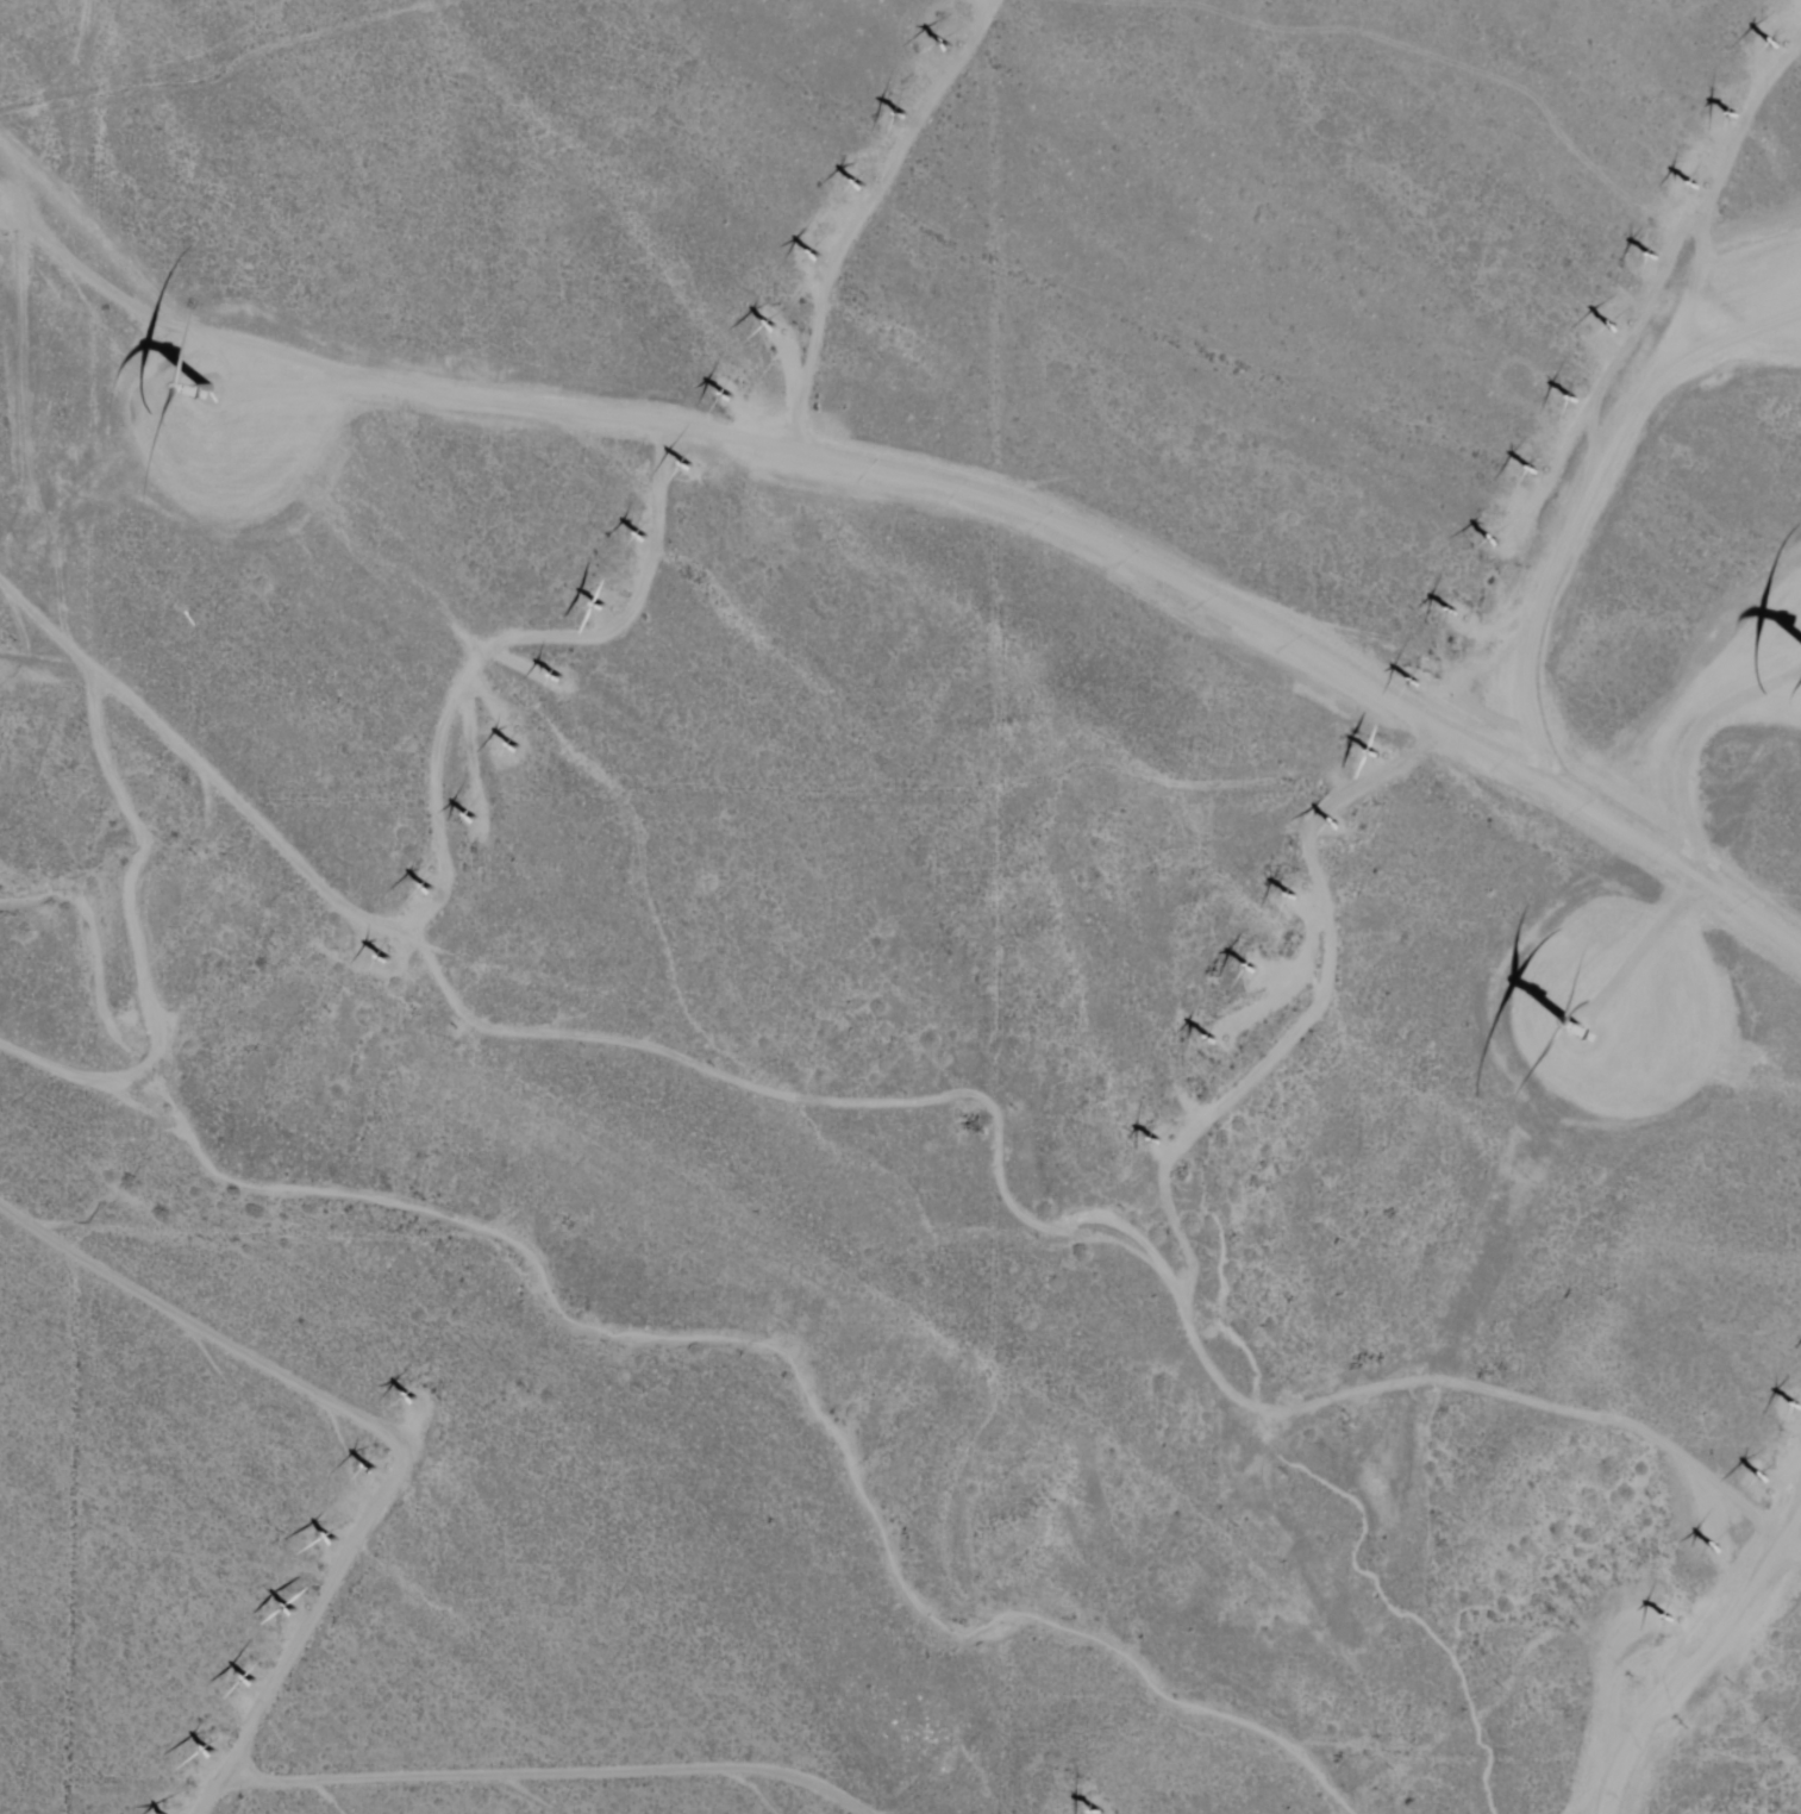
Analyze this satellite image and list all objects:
wind turbine: (1771, 44)
wind turbine: (949, 46)
wind turbine: (1733, 113)
wind turbine: (902, 117)
wind turbine: (856, 186)
wind turbine: (1697, 188)
wind turbine: (1652, 257)
wind turbine: (813, 259)
wind turbine: (1614, 325)
wind turbine: (763, 329)
wind turbine: (728, 396)
wind turbine: (219, 399)
wind turbine: (1575, 399)
wind turbine: (687, 469)
wind turbine: (1533, 470)
road: (917, 503)
wind turbine: (1494, 537)
wind turbine: (638, 539)
wind turbine: (596, 612)
wind turbine: (1452, 613)
wind turbine: (561, 681)
wind turbine: (1411, 681)
wind turbine: (514, 751)
wind turbine: (1370, 753)
wind turbine: (473, 817)
wind turbine: (1336, 821)
wind turbine: (425, 892)
wind turbine: (1288, 895)
wind turbine: (382, 961)
wind turbine: (1250, 970)
wind turbine: (1215, 1042)
wind turbine: (1571, 1044)
wind turbine: (1155, 1139)
wind turbine: (413, 1400)
wind turbine: (1794, 1410)
wind turbine: (371, 1472)
wind turbine: (1763, 1478)
wind turbine: (333, 1541)
wind turbine: (1718, 1549)
wind turbine: (293, 1610)
wind turbine: (1669, 1620)
wind turbine: (254, 1685)
road: (1555, 1749)
wind turbine: (215, 1754)
wind turbine: (1095, 1809)

